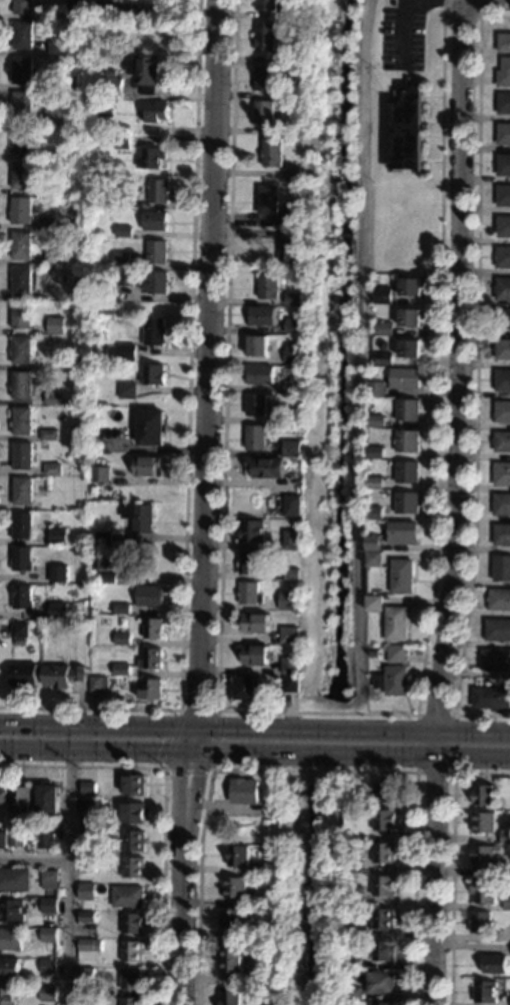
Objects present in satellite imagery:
road: (467, 1)
building: (75, 4)
building: (267, 5)
road: (407, 5)
building: (25, 7)
building: (290, 11)
building: (78, 14)
road: (469, 15)
building: (23, 35)
parking lot: (402, 35)
building: (266, 37)
building: (504, 43)
building: (58, 47)
building: (291, 55)
building: (297, 68)
building: (22, 71)
building: (144, 72)
building: (111, 73)
building: (504, 73)
building: (264, 78)
building: (49, 83)
building: (112, 85)
building: (53, 97)
building: (504, 103)
building: (22, 105)
building: (103, 109)
building: (157, 112)
building: (264, 114)
building: (55, 117)
building: (407, 129)
building: (504, 134)
building: (22, 140)
building: (121, 141)
building: (273, 152)
building: (151, 158)
building: (504, 164)
building: (292, 173)
building: (23, 175)
building: (49, 188)
building: (159, 190)
building: (504, 195)
building: (268, 200)
building: (124, 202)
building: (21, 210)
building: (291, 217)
building: (155, 221)
building: (48, 224)
building: (504, 226)
building: (123, 231)
building: (22, 245)
building: (157, 252)
building: (287, 252)
building: (54, 257)
building: (503, 257)
building: (122, 260)
building: (126, 278)
building: (22, 280)
building: (158, 283)
building: (269, 286)
building: (411, 287)
building: (503, 288)
building: (82, 293)
building: (383, 295)
building: (294, 299)
building: (22, 316)
building: (263, 316)
building: (411, 317)
building: (503, 318)
building: (56, 325)
building: (294, 325)
building: (385, 328)
building: (155, 331)
building: (383, 345)
building: (258, 346)
building: (411, 348)
river: (337, 349)
building: (503, 349)
building: (22, 350)
building: (127, 353)
building: (292, 353)
building: (385, 358)
building: (79, 364)
building: (153, 374)
road: (205, 374)
building: (261, 375)
building: (406, 378)
road: (477, 379)
building: (503, 380)
building: (22, 384)
building: (293, 384)
building: (377, 389)
building: (127, 391)
building: (53, 399)
building: (256, 405)
building: (409, 410)
building: (503, 411)
building: (79, 412)
building: (22, 421)
building: (377, 421)
building: (151, 427)
building: (49, 435)
building: (256, 437)
building: (295, 439)
building: (409, 441)
building: (503, 441)
building: (44, 445)
road: (186, 445)
building: (292, 448)
building: (377, 452)
building: (23, 456)
building: (148, 467)
building: (266, 467)
building: (53, 469)
building: (409, 472)
building: (100, 474)
building: (503, 474)
building: (376, 483)
building: (23, 491)
building: (409, 503)
building: (79, 504)
road: (461, 504)
building: (502, 504)
building: (293, 505)
building: (376, 513)
building: (139, 520)
building: (22, 525)
building: (252, 531)
building: (406, 533)
building: (58, 535)
building: (503, 535)
building: (104, 538)
building: (292, 539)
building: (375, 542)
building: (22, 558)
building: (104, 558)
building: (376, 559)
building: (250, 562)
building: (502, 568)
building: (59, 574)
building: (292, 574)
building: (404, 576)
building: (106, 578)
building: (249, 593)
building: (149, 596)
building: (22, 597)
building: (500, 599)
building: (289, 600)
building: (375, 603)
building: (122, 609)
building: (58, 612)
building: (255, 623)
building: (398, 623)
building: (153, 628)
building: (498, 629)
building: (20, 630)
building: (290, 635)
building: (122, 638)
building: (254, 654)
building: (376, 654)
building: (398, 654)
building: (151, 659)
building: (495, 660)
building: (291, 665)
building: (121, 669)
building: (23, 675)
building: (62, 676)
building: (394, 681)
building: (98, 683)
building: (291, 683)
building: (246, 688)
building: (151, 689)
building: (491, 698)
road: (319, 712)
road: (255, 728)
river: (325, 739)
road: (96, 748)
traffic signals: (193, 749)
road: (351, 752)
road: (205, 768)
road: (452, 772)
building: (134, 785)
road: (415, 786)
building: (89, 787)
building: (245, 791)
building: (386, 793)
building: (3, 794)
building: (484, 795)
building: (353, 797)
building: (21, 800)
building: (48, 800)
road: (164, 803)
building: (89, 805)
building: (134, 813)
building: (386, 820)
building: (483, 822)
building: (88, 833)
building: (349, 835)
building: (505, 837)
building: (17, 839)
building: (3, 840)
building: (46, 841)
building: (134, 841)
building: (385, 853)
road: (35, 856)
building: (239, 856)
building: (483, 856)
road: (452, 859)
building: (88, 864)
building: (355, 864)
road: (70, 865)
building: (134, 867)
building: (264, 870)
building: (507, 871)
road: (185, 876)
building: (15, 879)
building: (50, 879)
building: (385, 885)
road: (199, 886)
building: (236, 887)
building: (484, 890)
river: (313, 891)
building: (87, 892)
building: (358, 896)
building: (128, 897)
building: (260, 900)
building: (507, 902)
building: (49, 905)
building: (12, 910)
building: (87, 917)
building: (233, 918)
building: (385, 919)
building: (481, 922)
building: (133, 923)
building: (260, 930)
building: (357, 930)
building: (50, 935)
building: (11, 939)
building: (89, 949)
building: (132, 951)
building: (385, 951)
building: (233, 959)
building: (354, 963)
building: (495, 964)
building: (49, 966)
building: (9, 968)
building: (267, 973)
building: (86, 976)
building: (132, 980)
building: (382, 983)
building: (486, 992)
building: (48, 993)
building: (354, 993)
building: (7, 996)
building: (231, 998)
building: (131, 1001)
building: (383, 1003)
building: (86, 1004)

